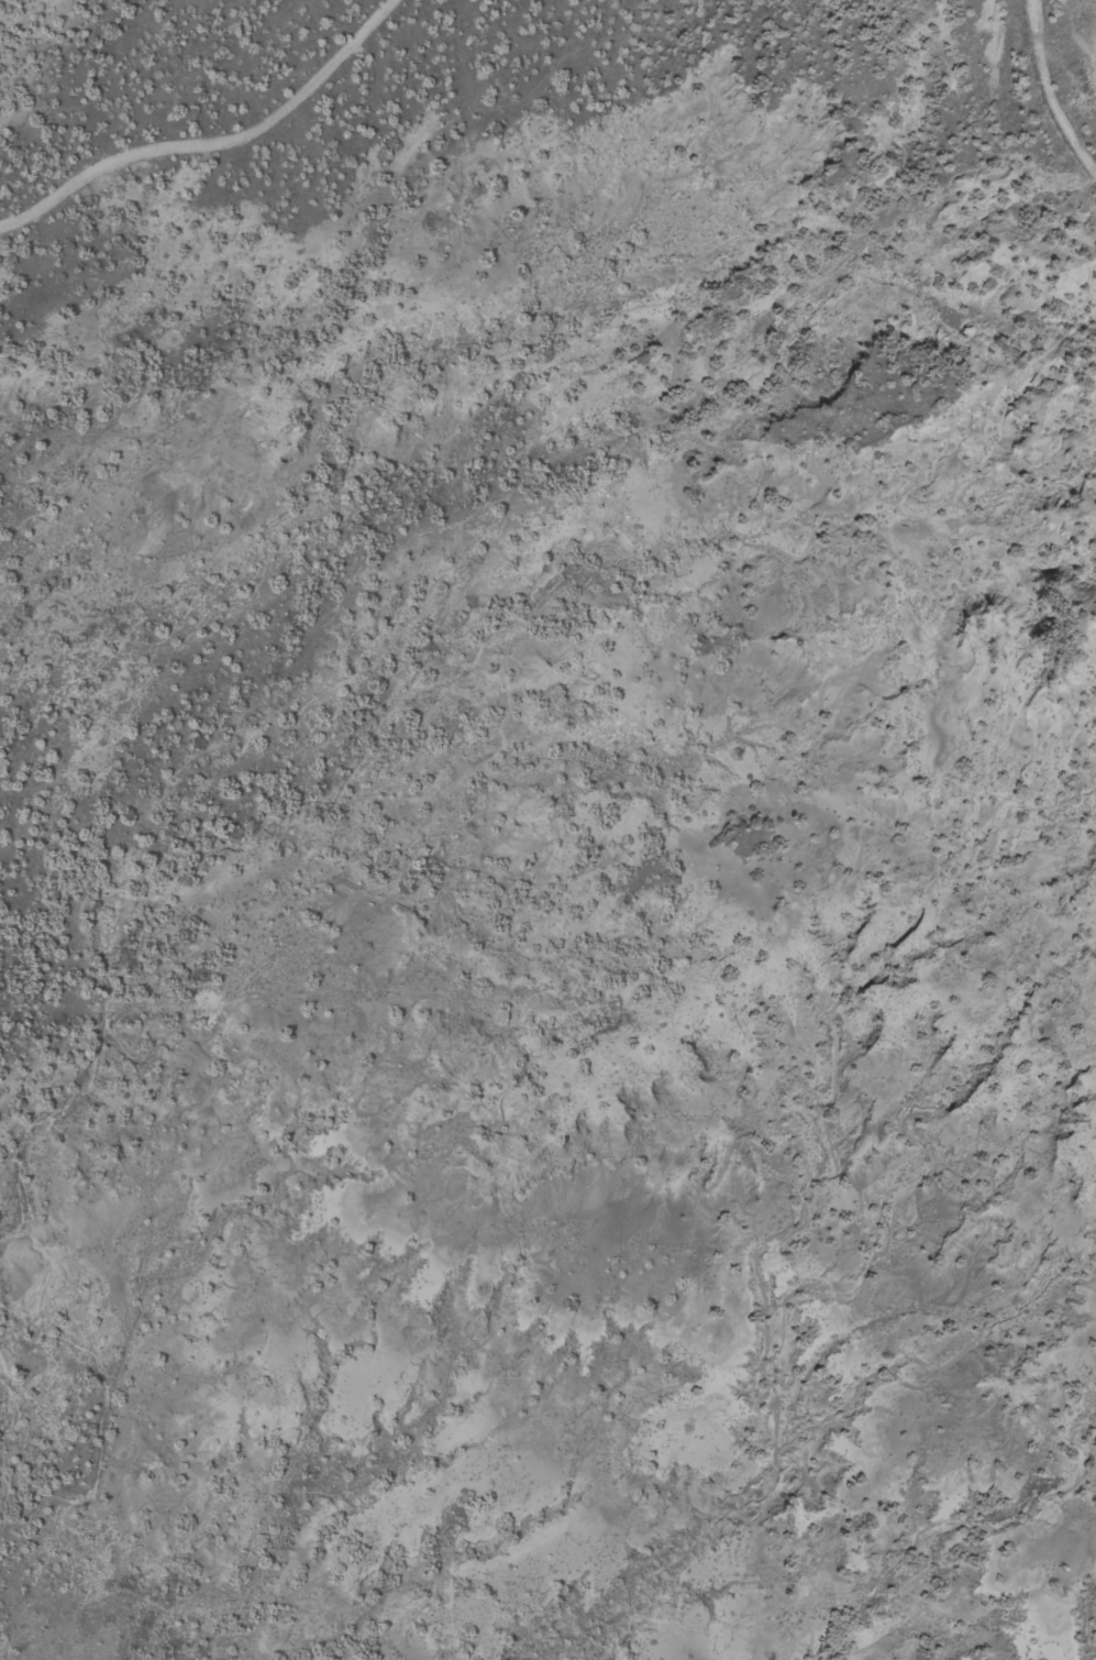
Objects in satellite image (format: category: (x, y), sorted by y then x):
road: (215, 62)

